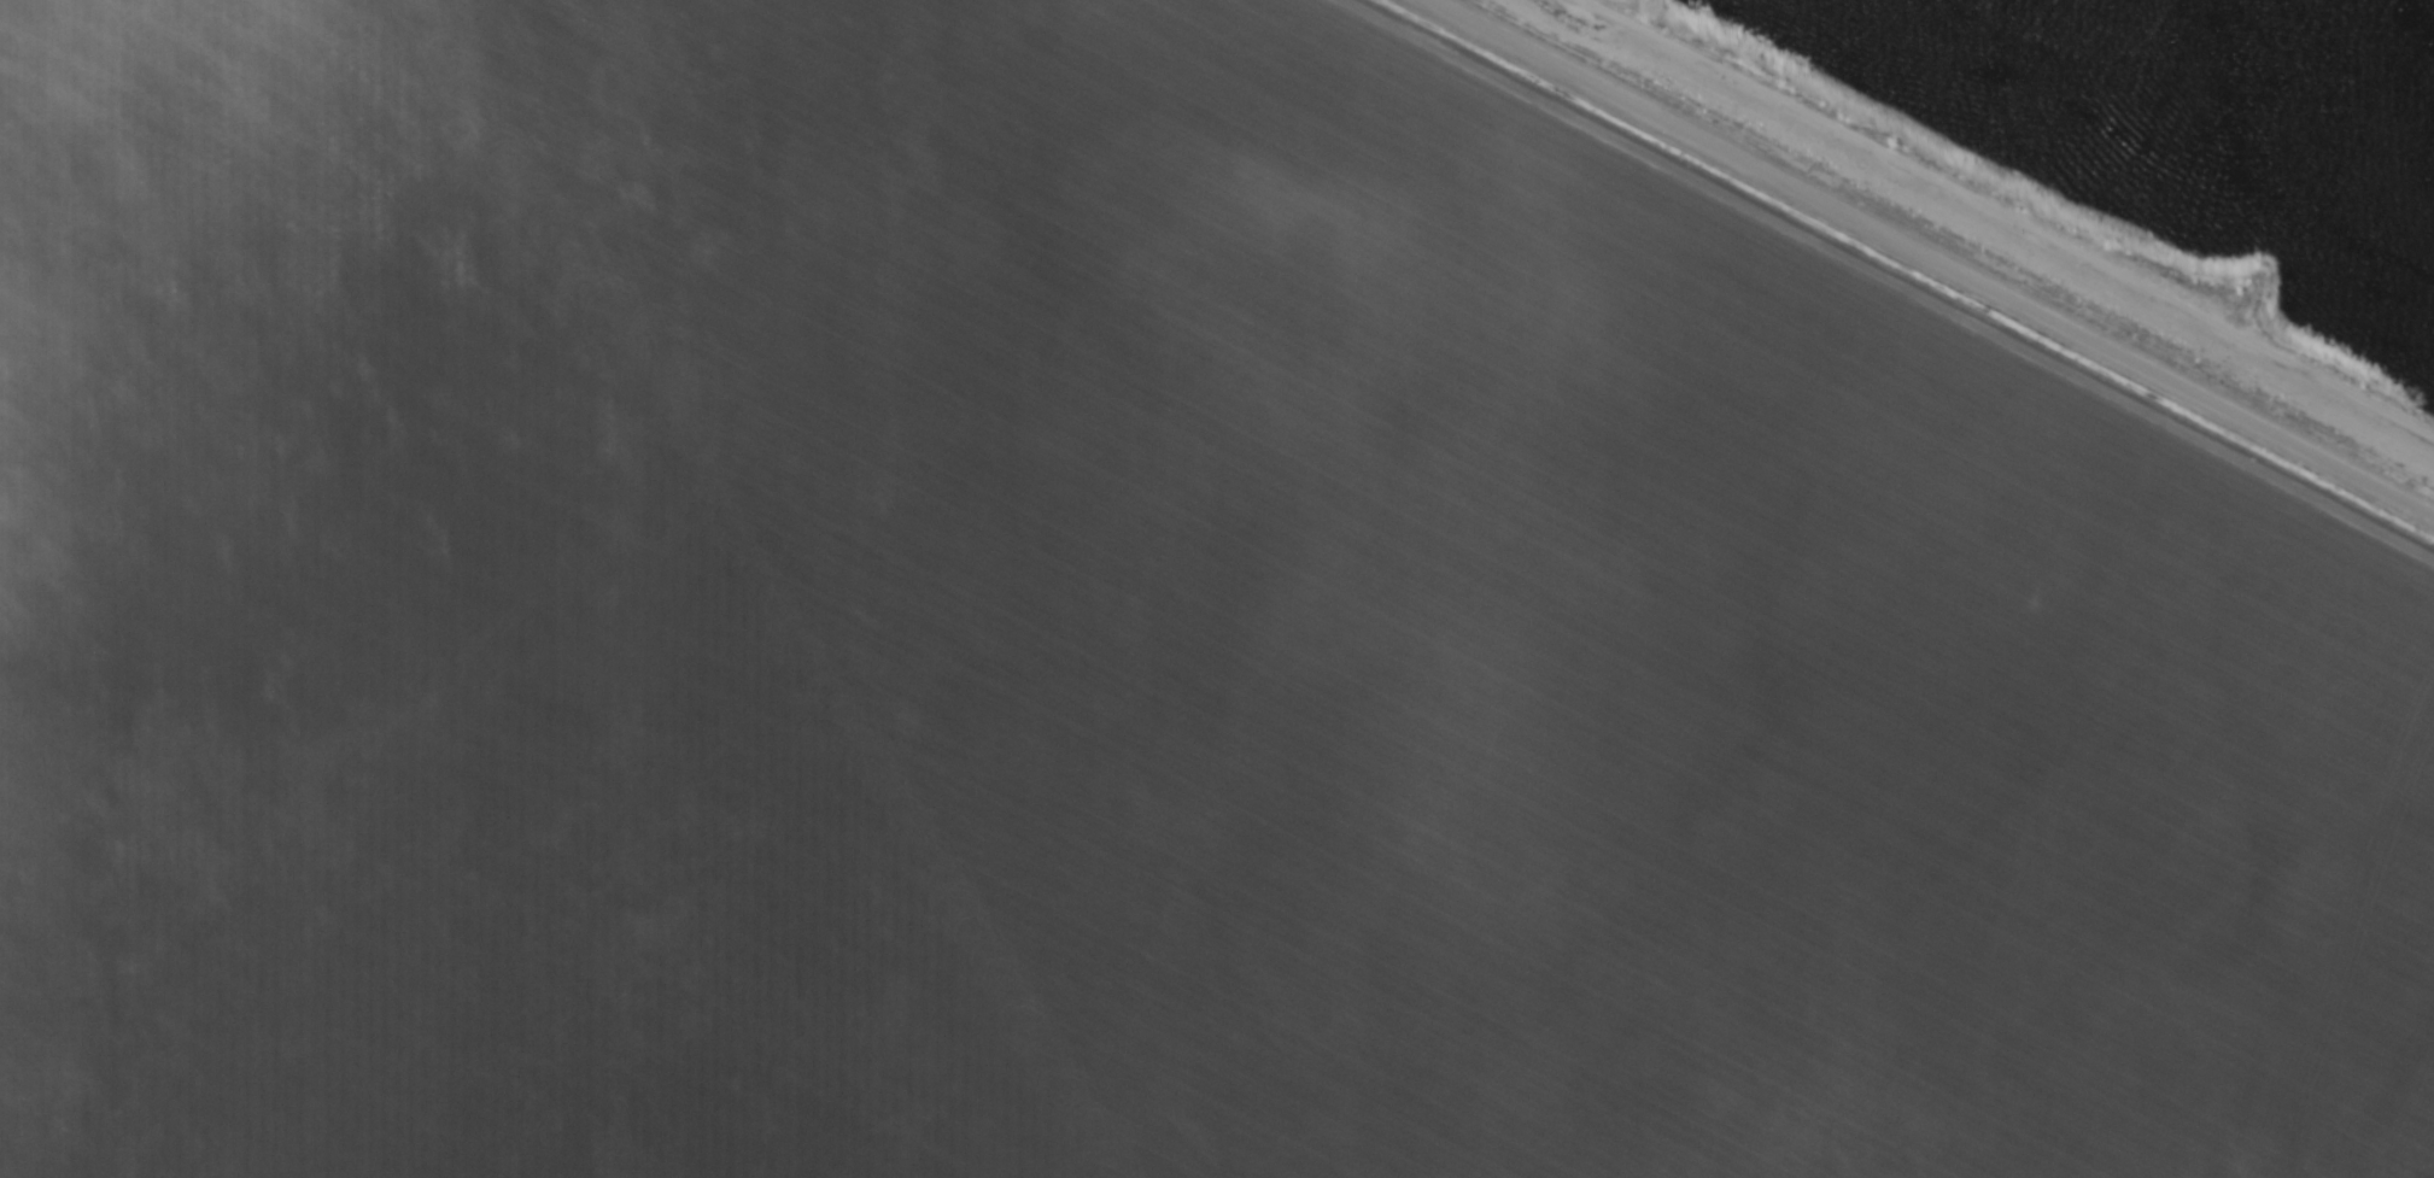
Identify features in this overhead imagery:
crop: (1170, 610)

